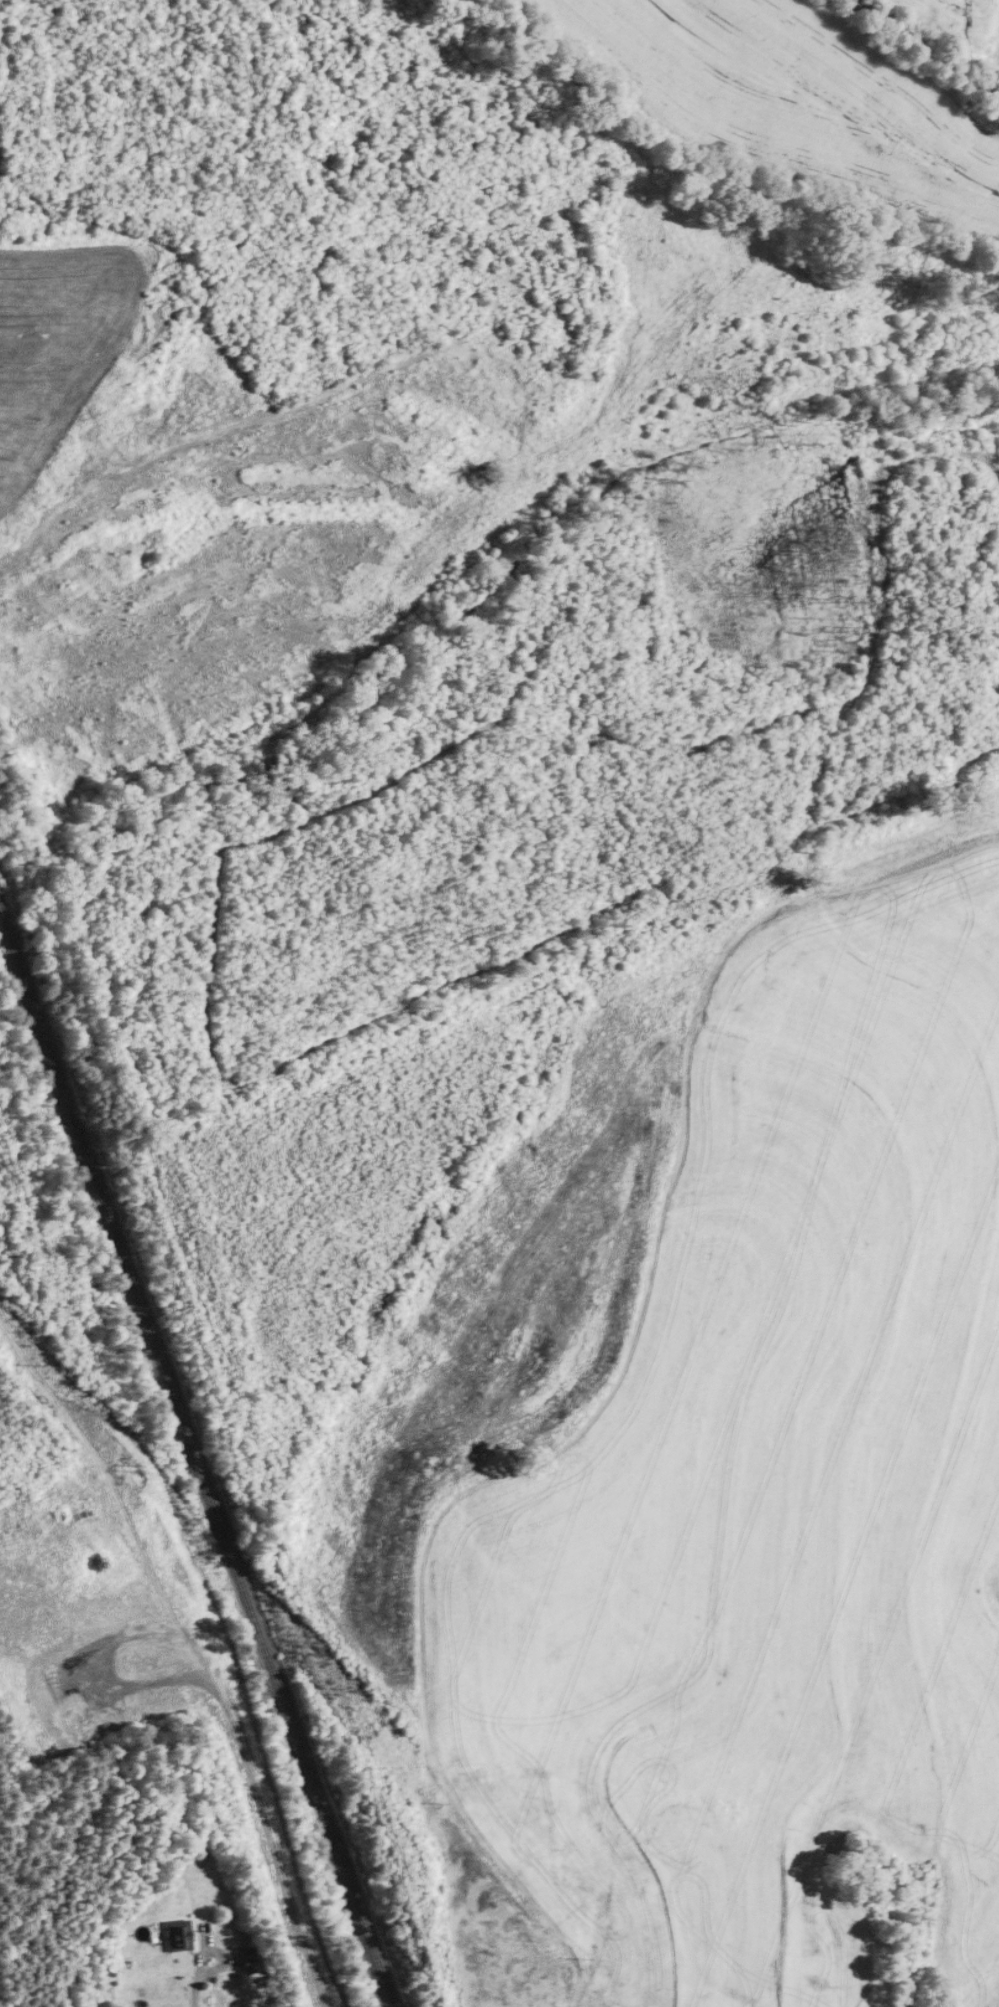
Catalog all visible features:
railway: (195, 1463)
building: (180, 1935)
building: (254, 1960)
road: (198, 1979)

